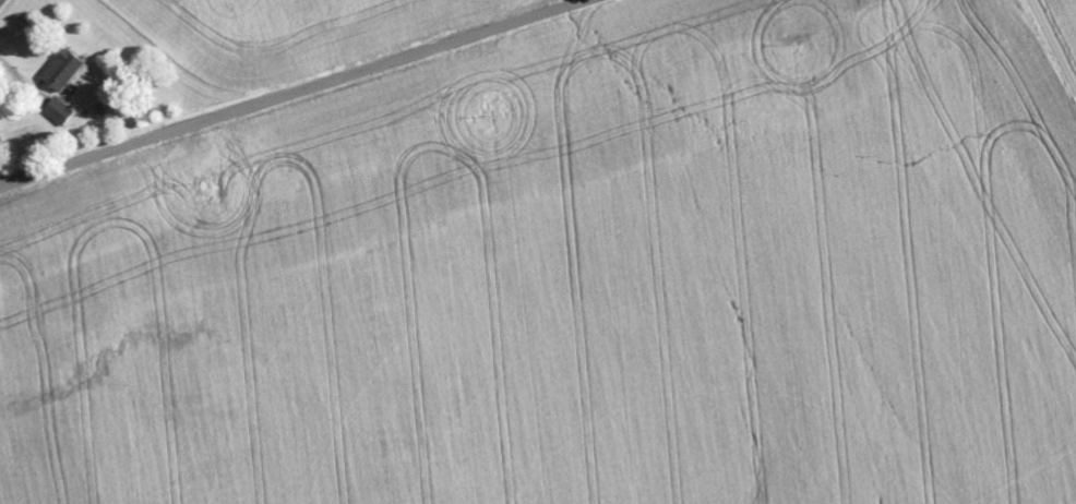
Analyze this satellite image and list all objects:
road: (1053, 44)
building: (65, 72)
road: (299, 95)
building: (62, 112)

